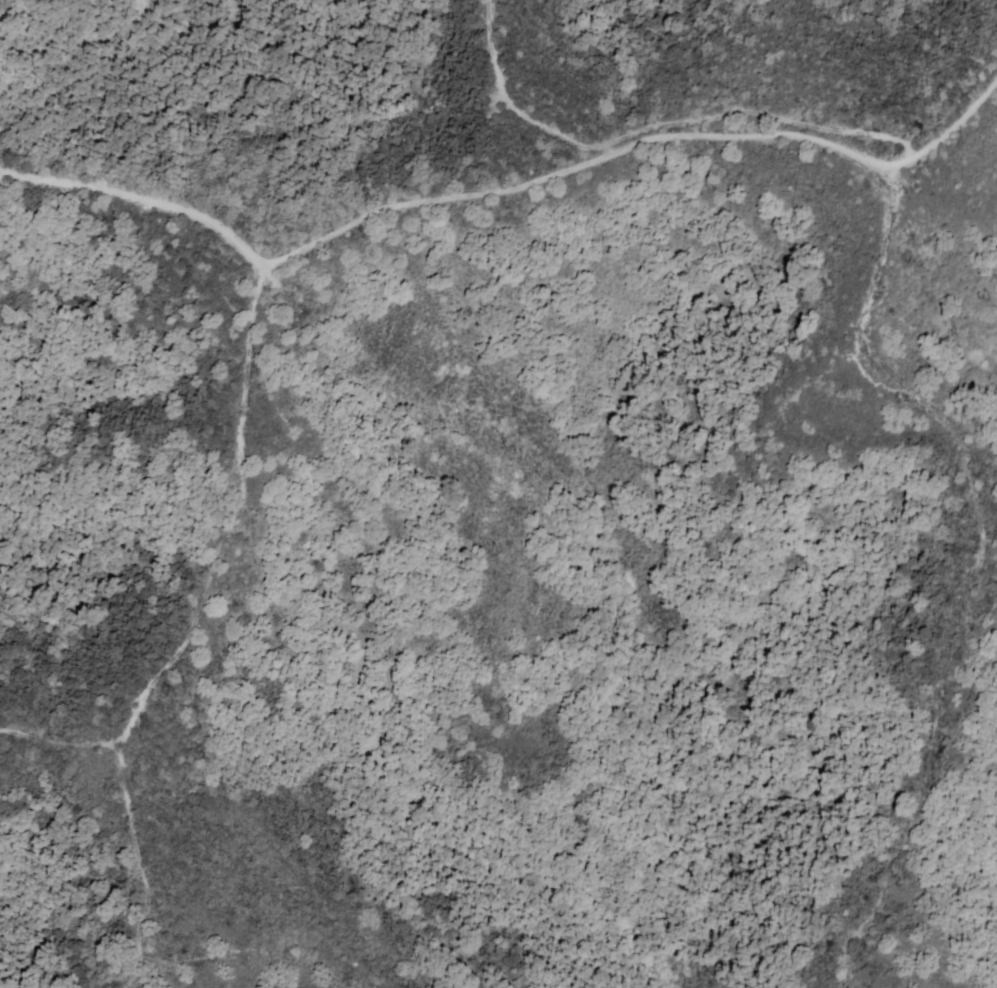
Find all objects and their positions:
road: (655, 126)
road: (504, 190)
road: (982, 552)
road: (189, 632)
road: (59, 745)

